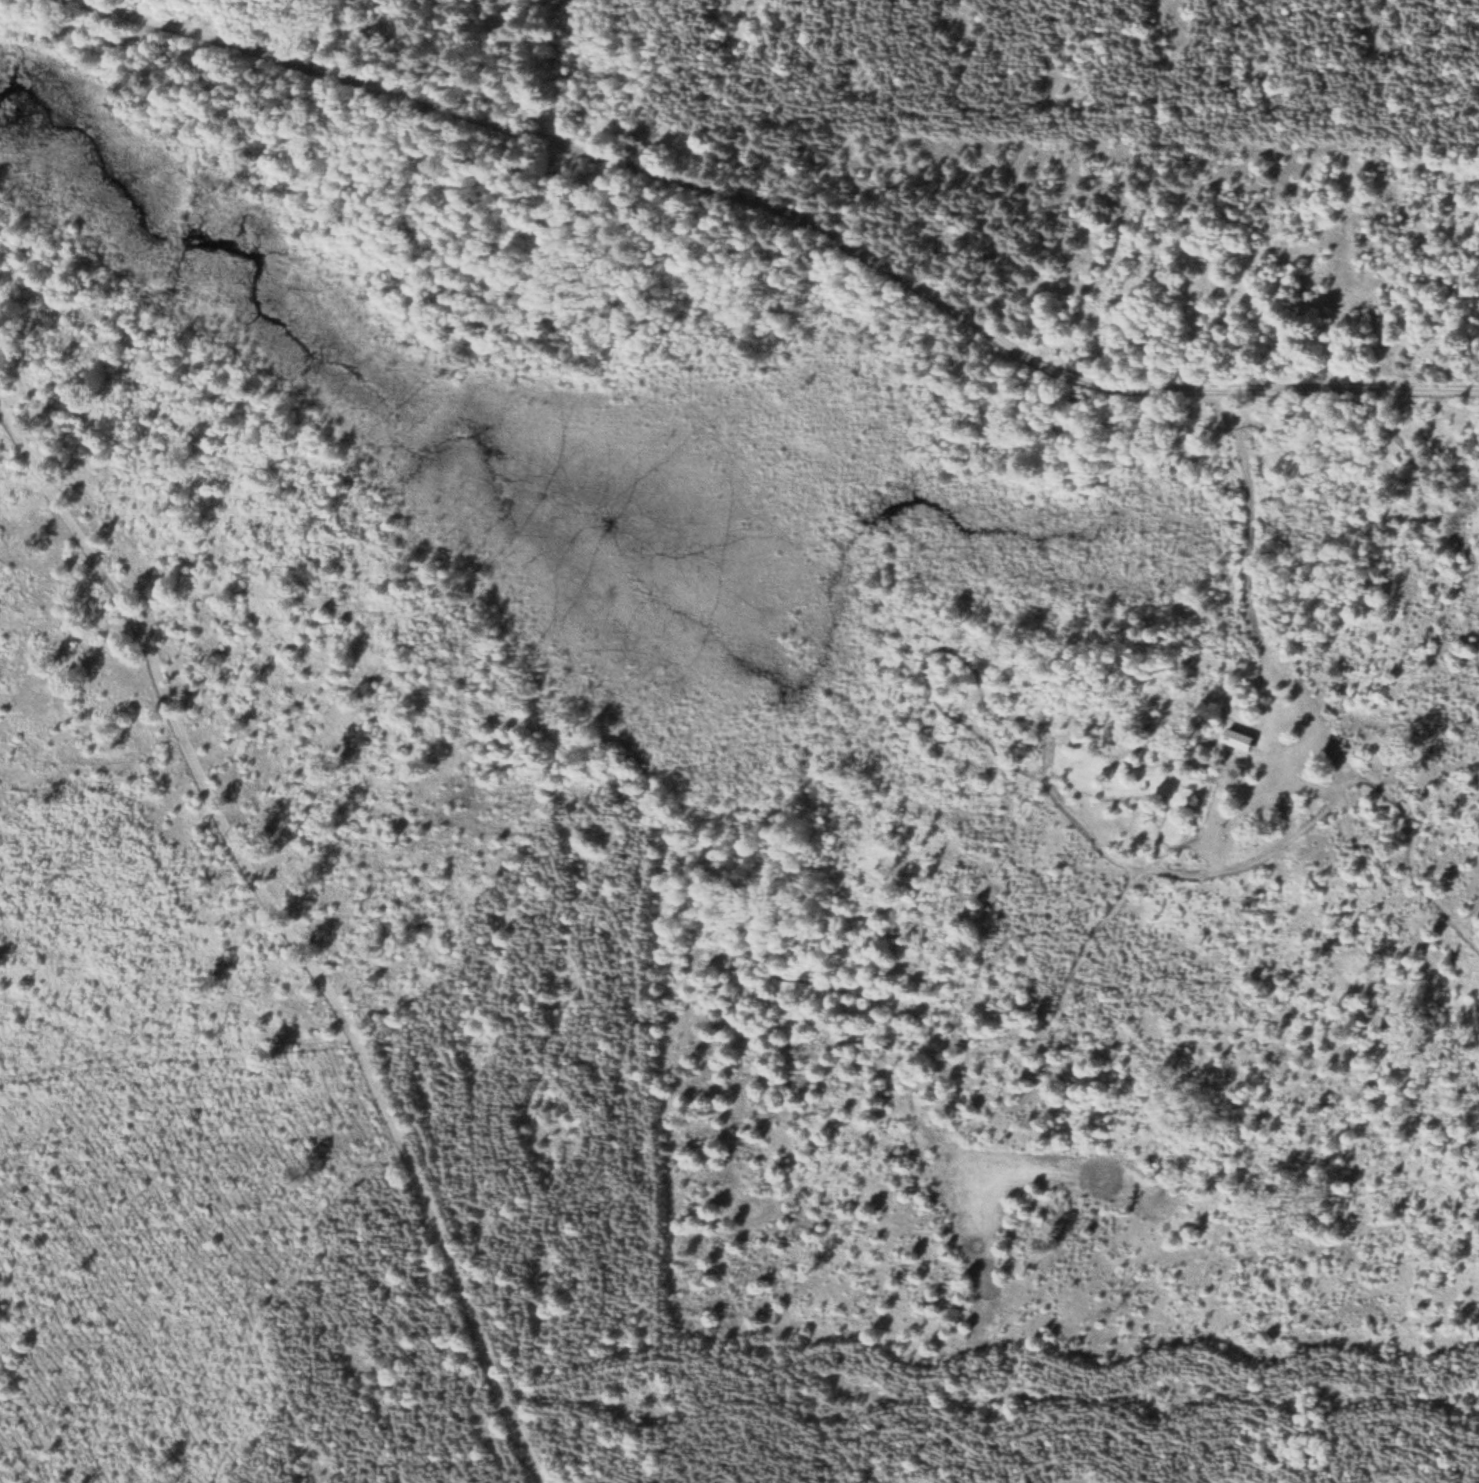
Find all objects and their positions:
road: (797, 213)
road: (292, 928)

